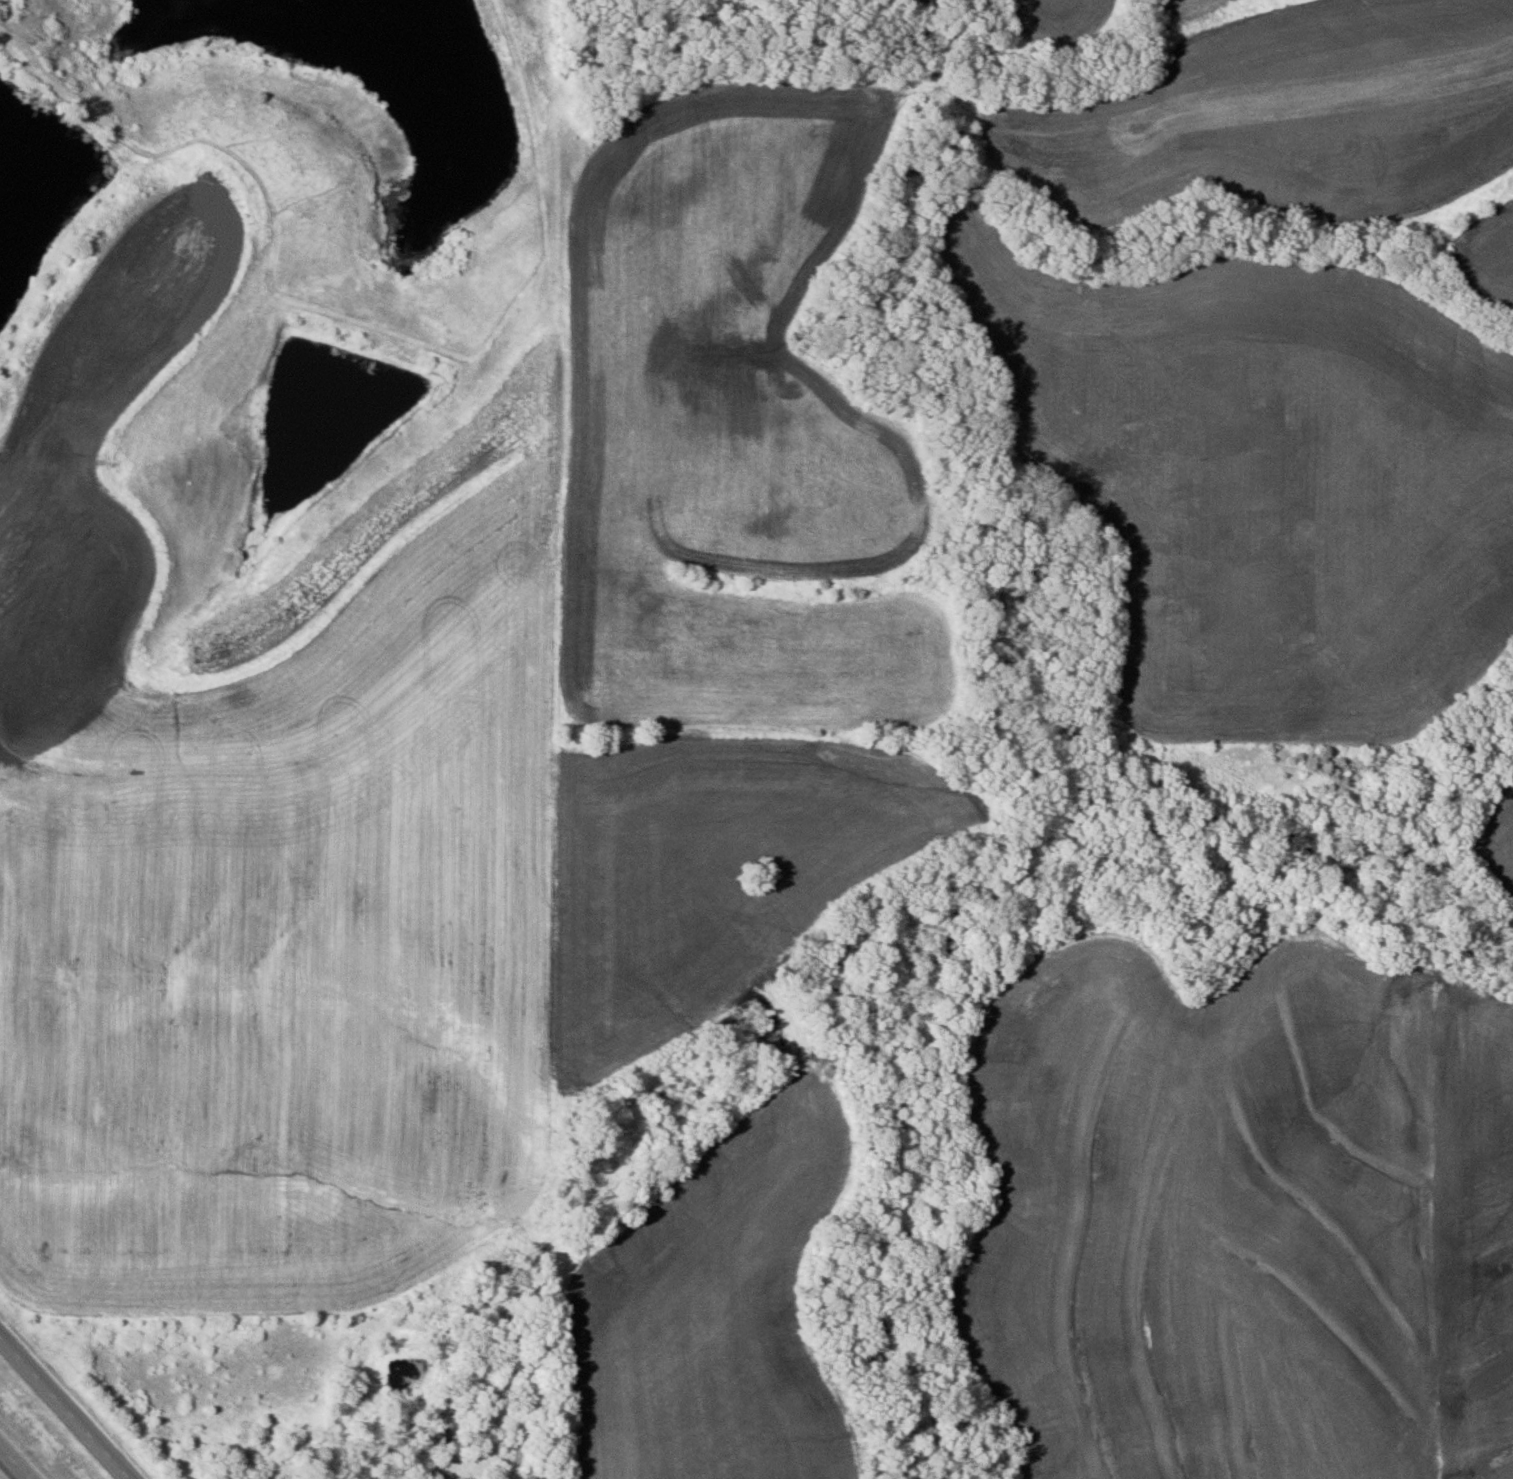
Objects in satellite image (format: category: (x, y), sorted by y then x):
road: (65, 1408)
road: (8, 1469)

